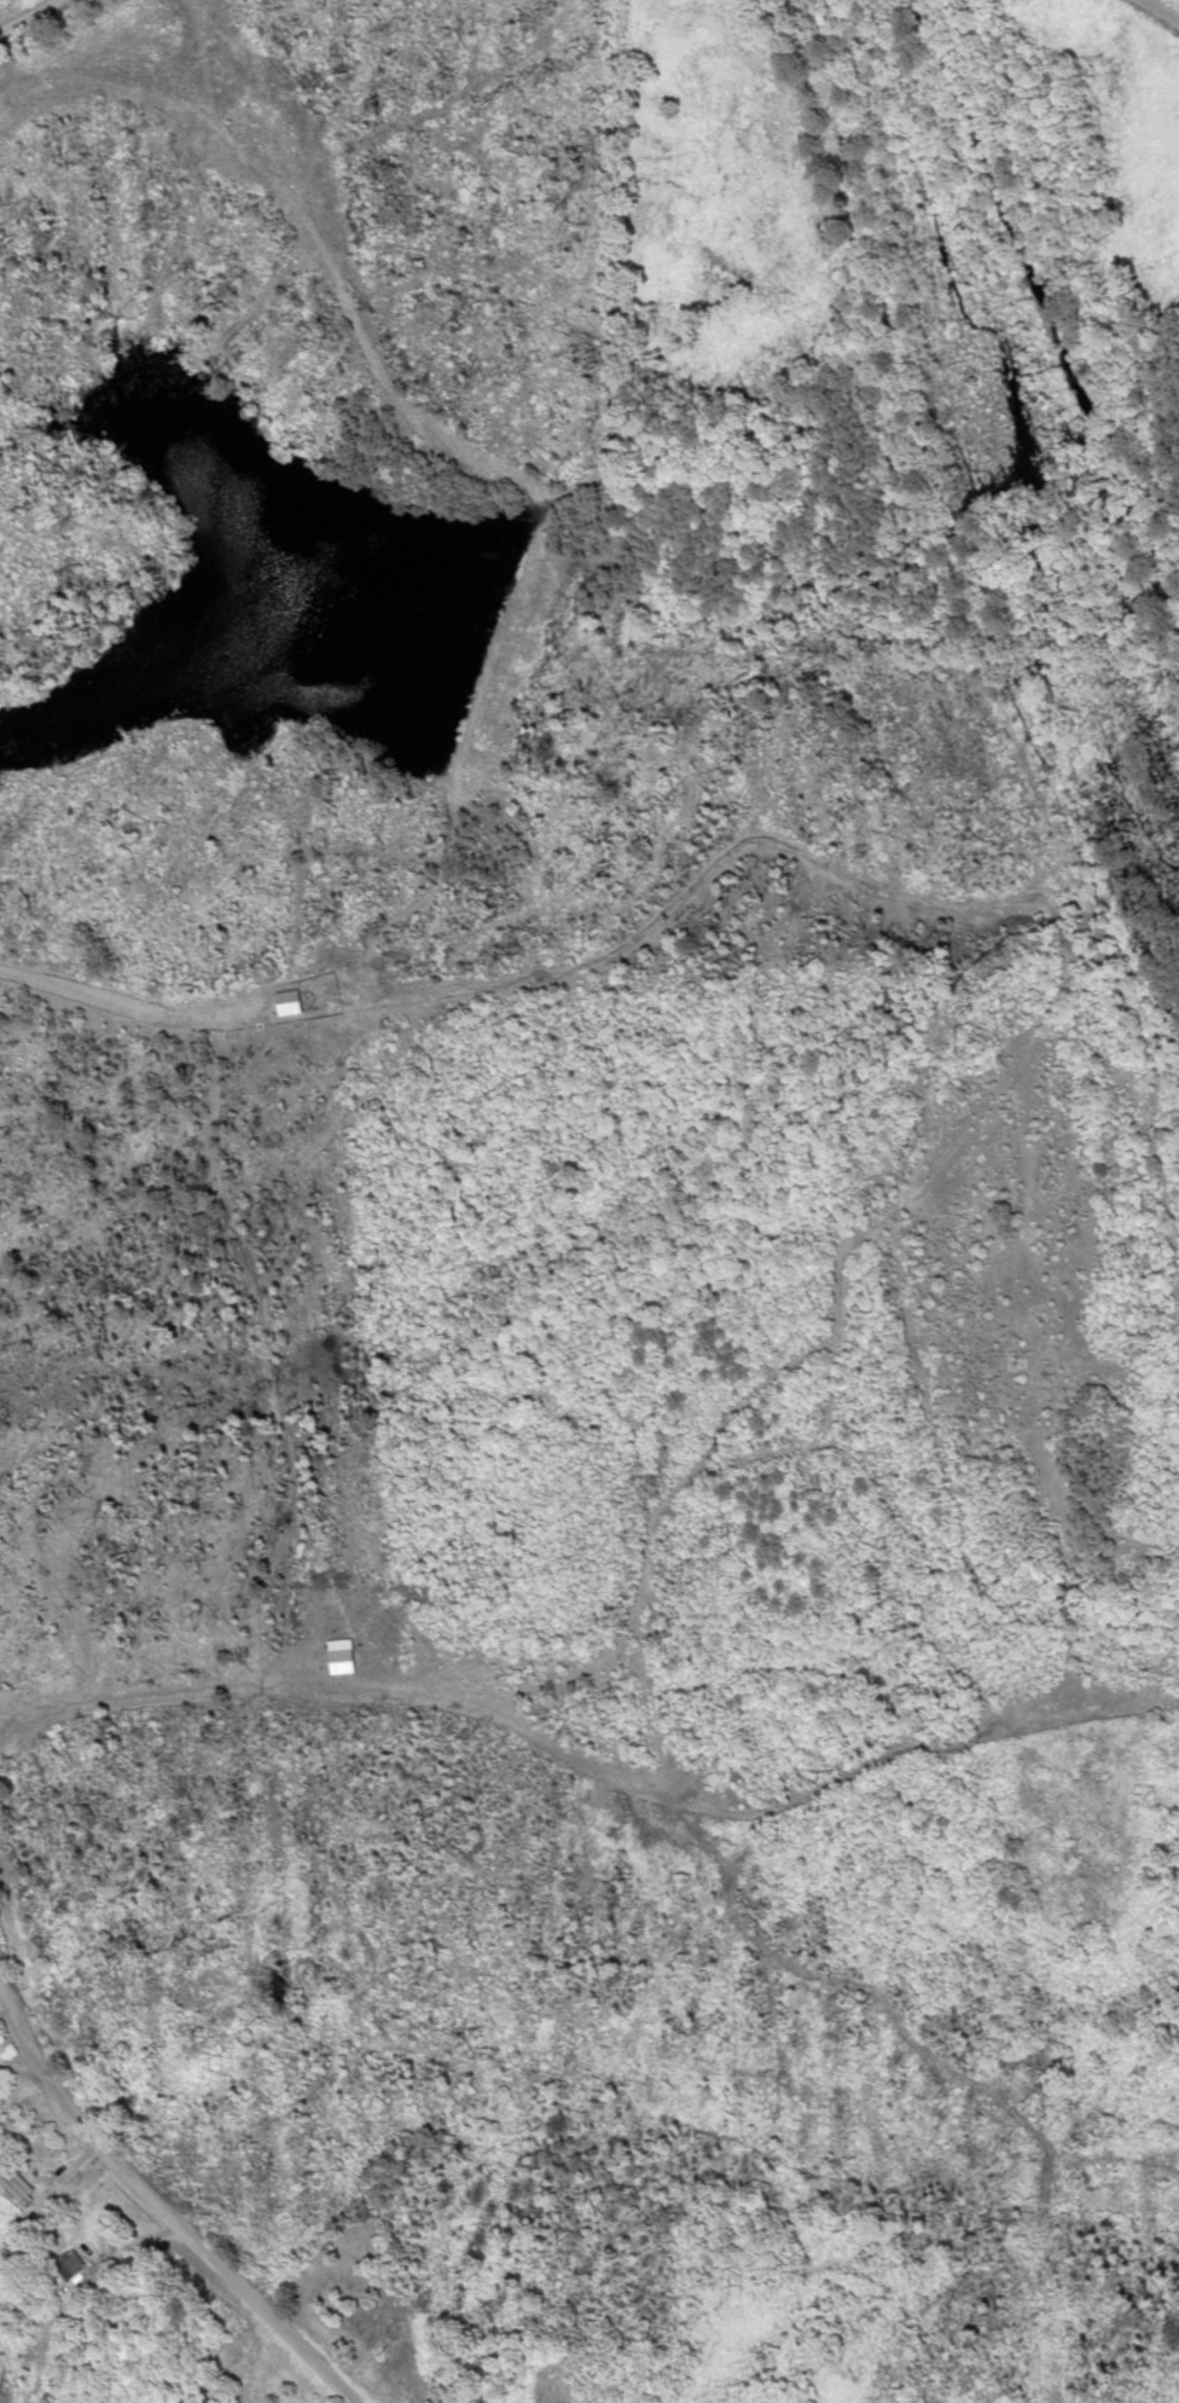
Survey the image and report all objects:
road: (1157, 11)
road: (25, 13)
road: (152, 2194)

